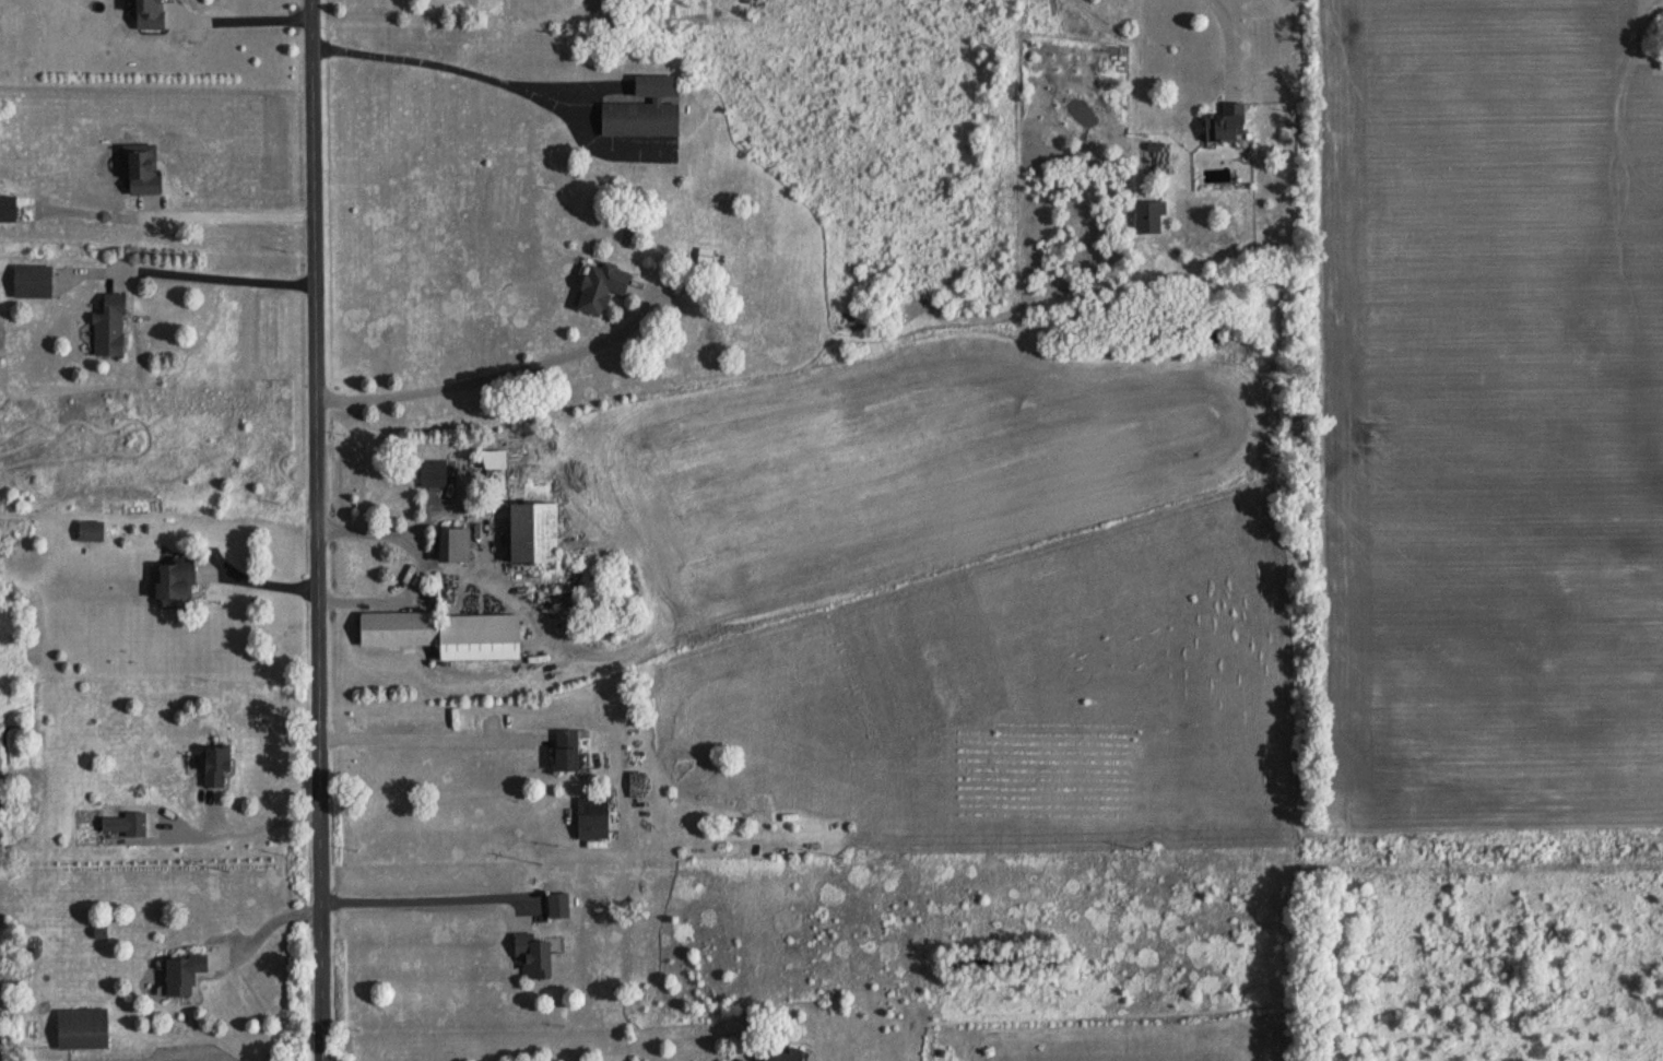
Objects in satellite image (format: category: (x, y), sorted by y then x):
building: (151, 14)
road: (248, 17)
road: (1226, 26)
road: (447, 59)
building: (640, 111)
building: (1222, 123)
building: (143, 169)
road: (229, 203)
building: (8, 209)
road: (223, 268)
building: (33, 282)
building: (597, 287)
building: (113, 326)
road: (484, 372)
road: (319, 530)
building: (91, 531)
building: (535, 534)
building: (447, 544)
road: (420, 557)
road: (258, 580)
building: (178, 582)
building: (449, 635)
road: (421, 729)
building: (573, 750)
building: (217, 765)
road: (253, 821)
building: (134, 824)
building: (593, 827)
road: (412, 894)
road: (268, 917)
building: (536, 955)
building: (185, 975)
building: (82, 1028)
building: (783, 1056)

